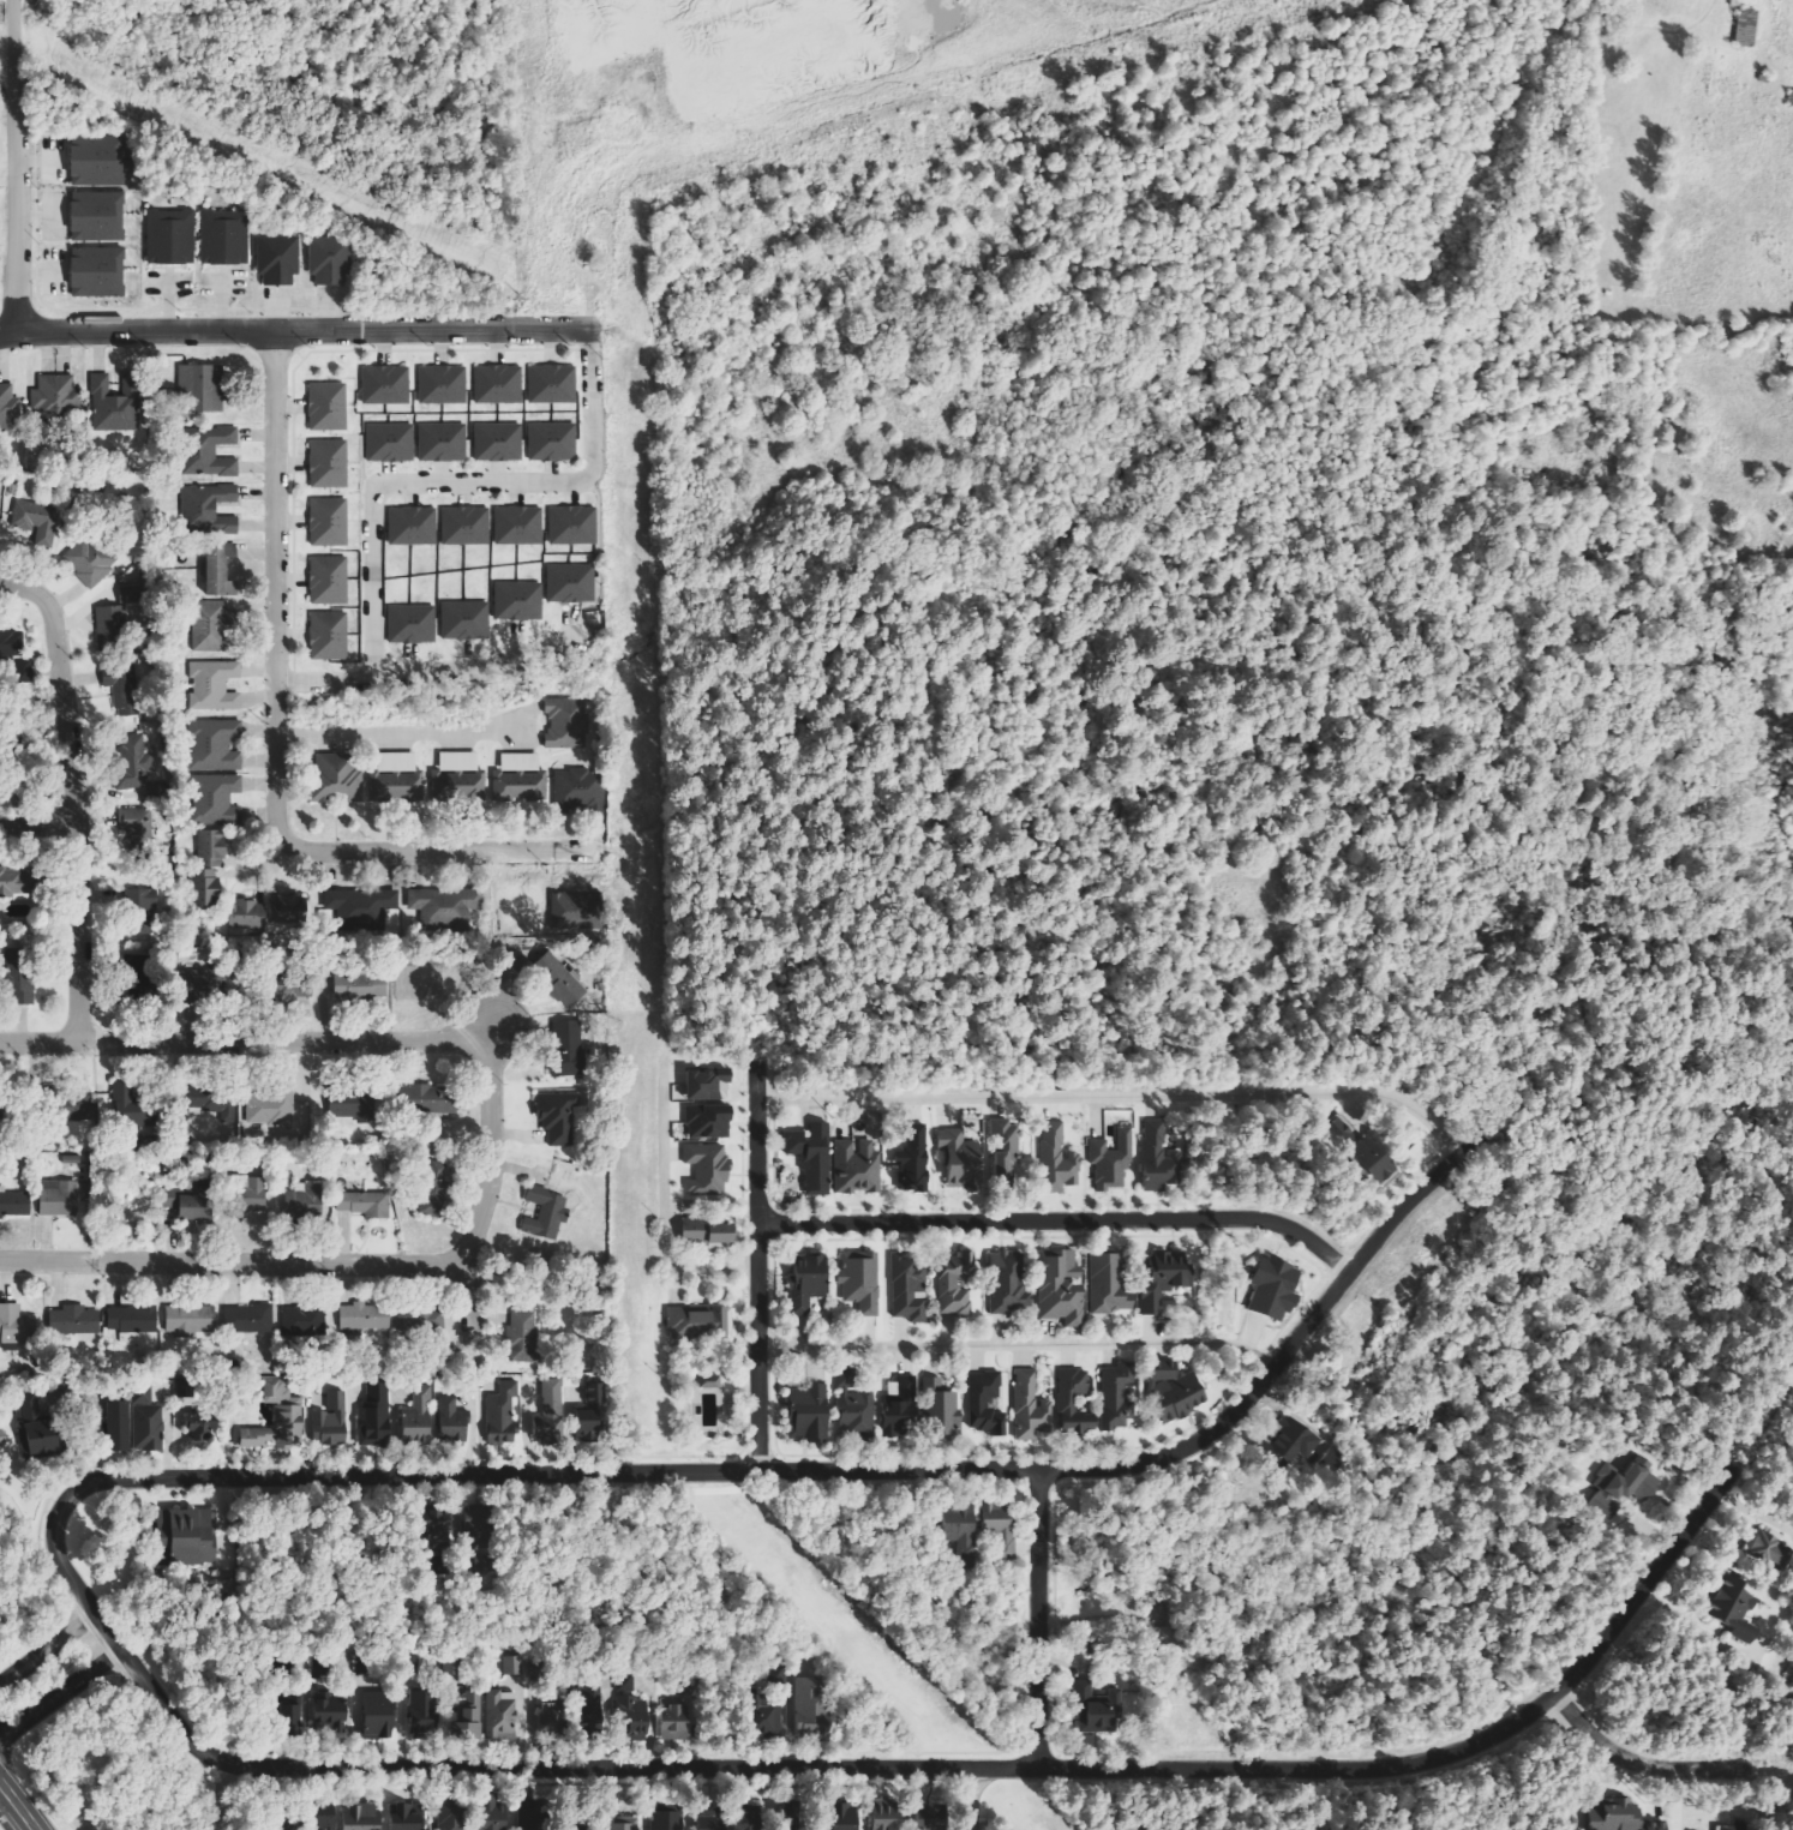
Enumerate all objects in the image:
building: (1746, 28)
building: (90, 160)
road: (11, 167)
building: (90, 216)
building: (163, 238)
building: (217, 238)
building: (271, 259)
building: (323, 259)
building: (90, 271)
road: (295, 331)
building: (491, 384)
building: (545, 384)
building: (378, 385)
building: (436, 385)
building: (200, 388)
building: (49, 400)
building: (115, 403)
building: (320, 407)
building: (5, 408)
building: (436, 442)
building: (492, 442)
building: (546, 442)
building: (384, 443)
building: (210, 454)
building: (322, 463)
road: (466, 482)
building: (208, 509)
building: (30, 521)
building: (322, 522)
building: (406, 526)
building: (458, 526)
building: (511, 526)
building: (565, 526)
building: (85, 560)
building: (220, 570)
building: (322, 580)
building: (564, 583)
building: (511, 600)
building: (110, 620)
building: (458, 620)
building: (406, 624)
building: (209, 625)
building: (323, 635)
building: (8, 643)
road: (473, 667)
road: (324, 676)
building: (214, 685)
building: (116, 689)
building: (564, 724)
building: (215, 745)
road: (277, 745)
building: (398, 762)
building: (458, 762)
building: (127, 764)
building: (335, 778)
building: (517, 778)
building: (462, 786)
building: (396, 787)
building: (578, 792)
road: (70, 798)
building: (214, 798)
road: (36, 823)
building: (131, 828)
building: (209, 866)
building: (17, 882)
building: (134, 910)
building: (268, 914)
building: (18, 973)
building: (557, 976)
building: (360, 985)
road: (398, 1039)
building: (569, 1048)
building: (708, 1081)
road: (1116, 1096)
building: (428, 1098)
building: (210, 1100)
building: (126, 1104)
building: (70, 1105)
building: (354, 1106)
building: (274, 1109)
building: (559, 1112)
building: (709, 1121)
building: (1341, 1133)
building: (1005, 1148)
building: (812, 1156)
building: (1159, 1158)
building: (912, 1159)
building: (961, 1159)
building: (1057, 1159)
building: (1111, 1159)
building: (1374, 1162)
building: (857, 1166)
building: (707, 1169)
building: (434, 1188)
building: (246, 1194)
building: (59, 1198)
building: (191, 1200)
building: (305, 1200)
building: (14, 1204)
building: (365, 1204)
building: (545, 1214)
road: (1057, 1220)
building: (709, 1232)
road: (233, 1265)
road: (754, 1267)
building: (1165, 1279)
building: (862, 1280)
building: (954, 1282)
building: (808, 1283)
building: (1008, 1283)
building: (1108, 1284)
building: (1061, 1286)
building: (910, 1288)
building: (1275, 1288)
building: (364, 1316)
building: (420, 1318)
building: (74, 1319)
building: (132, 1319)
building: (248, 1319)
building: (190, 1320)
building: (301, 1320)
building: (700, 1322)
building: (16, 1325)
building: (522, 1337)
road: (1014, 1344)
building: (709, 1382)
building: (1175, 1392)
building: (1117, 1396)
building: (1075, 1403)
building: (987, 1404)
building: (1029, 1406)
building: (854, 1408)
building: (899, 1408)
building: (941, 1410)
building: (809, 1412)
building: (374, 1414)
building: (551, 1414)
building: (592, 1414)
building: (503, 1415)
building: (418, 1417)
building: (278, 1418)
building: (331, 1421)
building: (452, 1421)
building: (148, 1422)
building: (118, 1426)
building: (34, 1427)
building: (199, 1432)
building: (1291, 1439)
road: (757, 1471)
building: (1621, 1488)
building: (960, 1525)
building: (1000, 1525)
building: (478, 1529)
building: (187, 1534)
building: (437, 1538)
building: (1765, 1548)
building: (1734, 1609)
road: (1033, 1619)
road: (46, 1646)
building: (512, 1664)
road: (60, 1694)
building: (1096, 1708)
building: (631, 1709)
building: (810, 1710)
building: (574, 1712)
building: (289, 1715)
building: (330, 1715)
building: (424, 1715)
building: (502, 1715)
building: (379, 1716)
building: (468, 1716)
building: (763, 1717)
building: (674, 1721)
road: (1632, 1764)
road: (958, 1768)
road: (220, 1796)
road: (969, 1799)
road: (14, 1808)
building: (491, 1813)
building: (448, 1814)
building: (324, 1816)
building: (842, 1816)
building: (886, 1816)
building: (361, 1817)
building: (406, 1817)
building: (930, 1817)
building: (1623, 1817)
building: (709, 1818)
building: (666, 1819)
building: (748, 1820)
building: (622, 1823)

